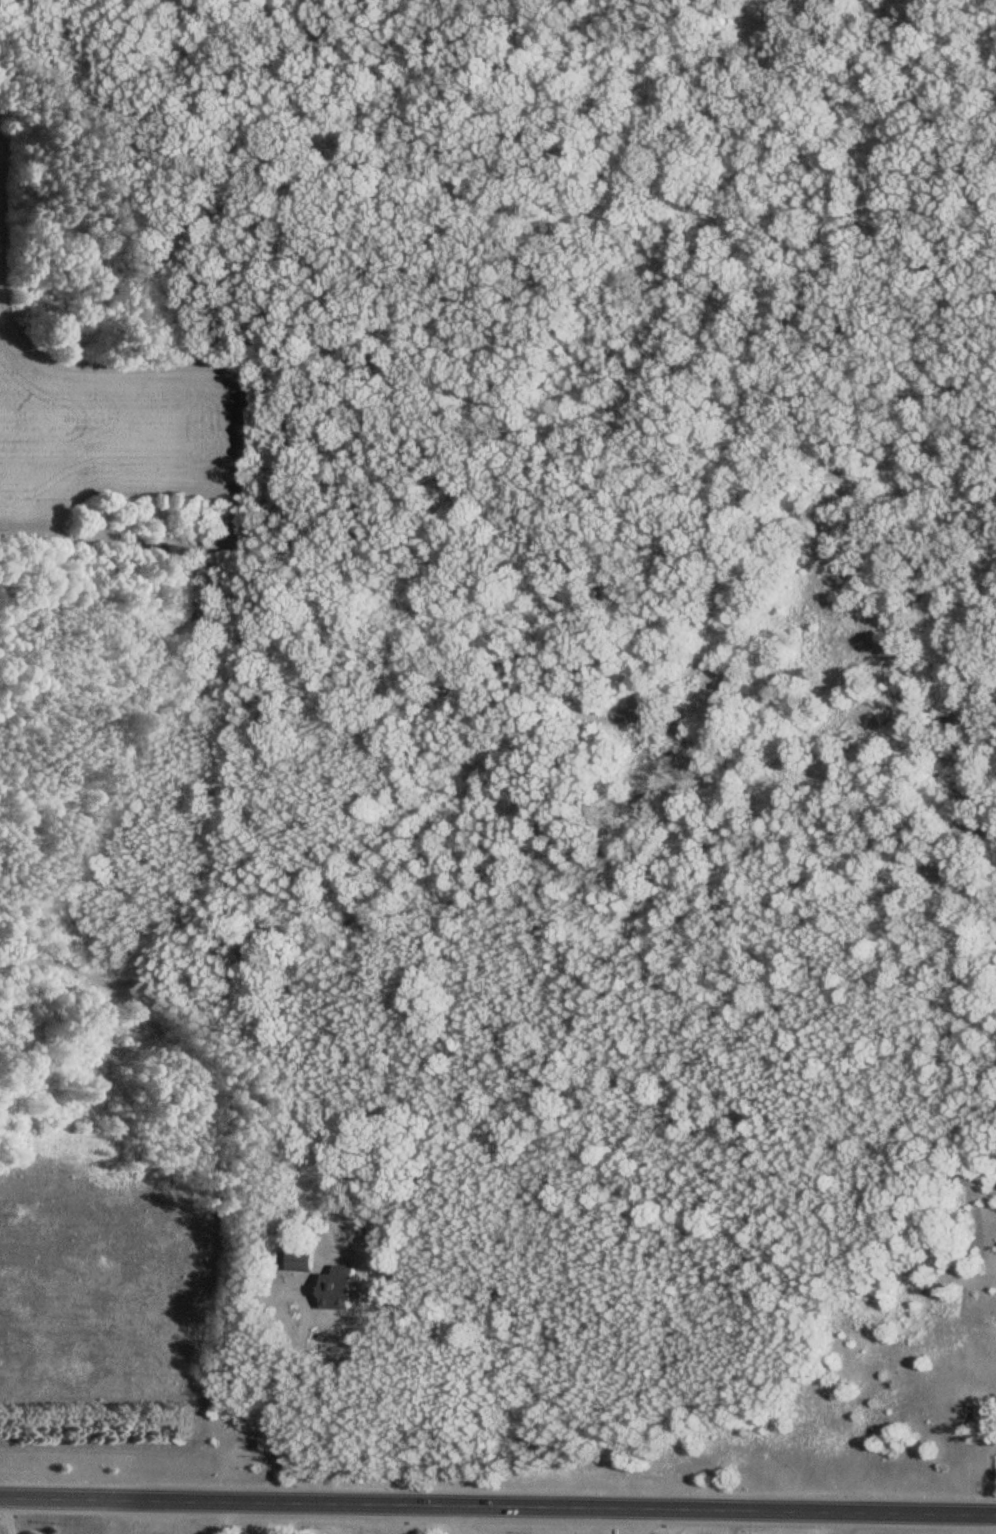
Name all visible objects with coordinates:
crop: (108, 433)
building: (302, 1260)
building: (348, 1273)
road: (498, 1505)

